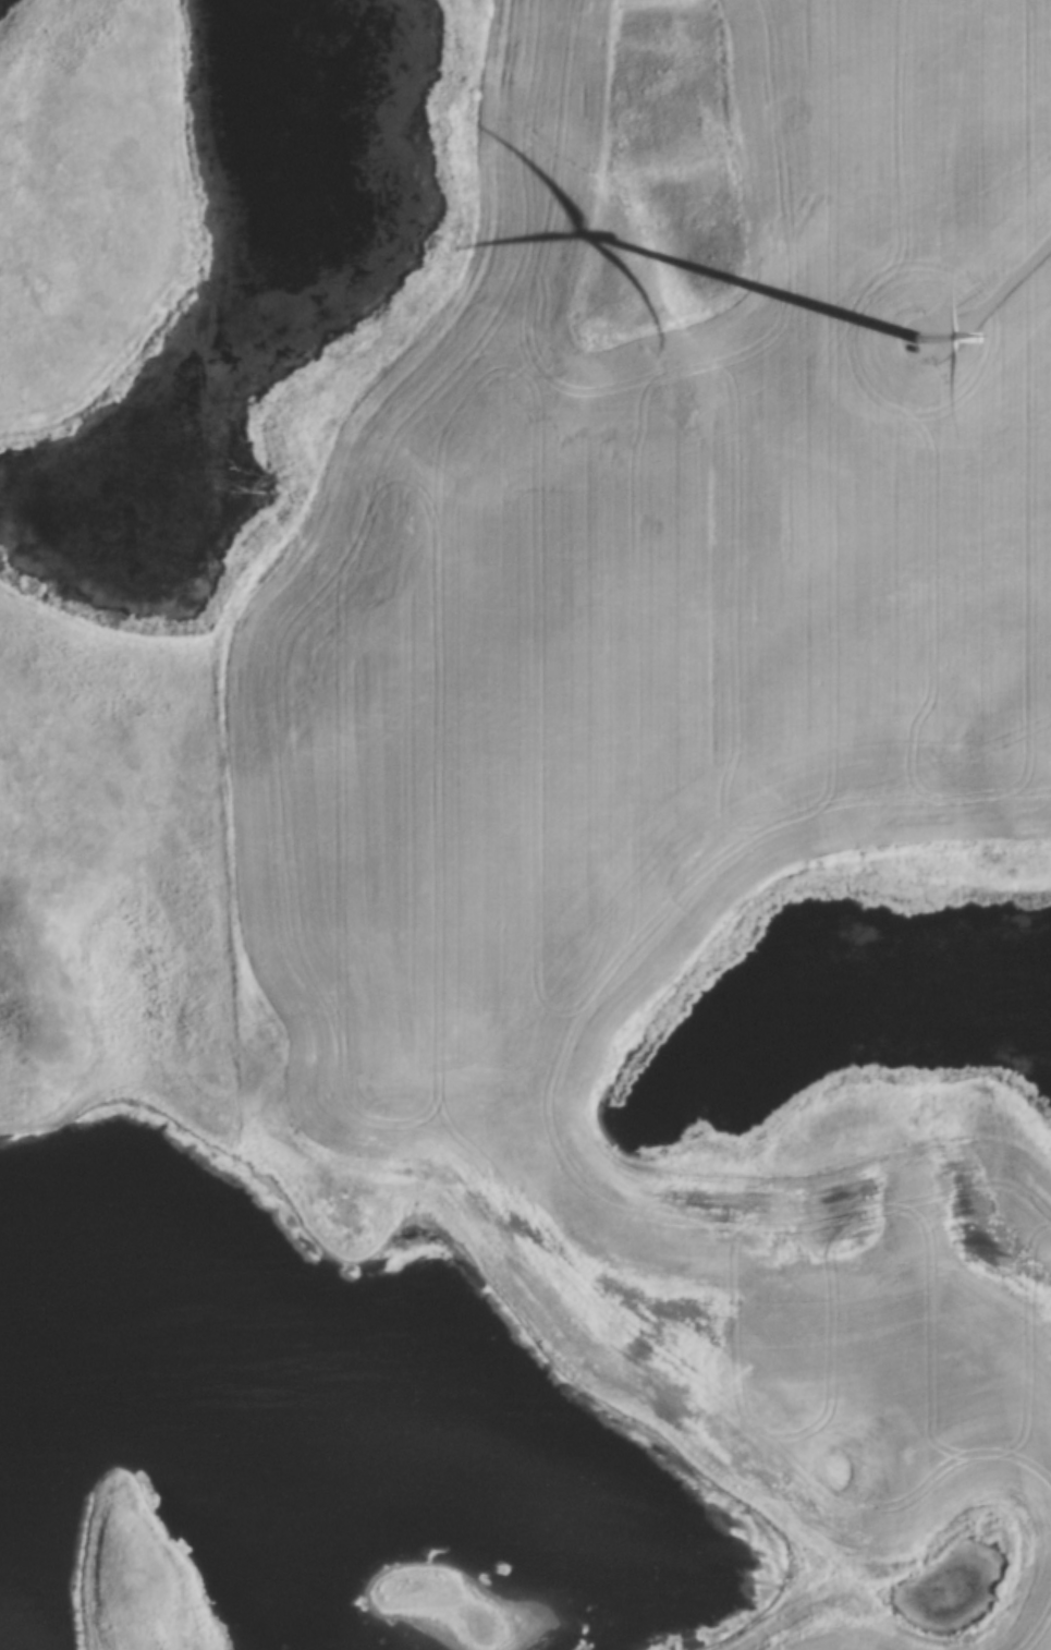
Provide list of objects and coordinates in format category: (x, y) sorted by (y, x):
road: (1007, 277)
wind turbine: (919, 339)

